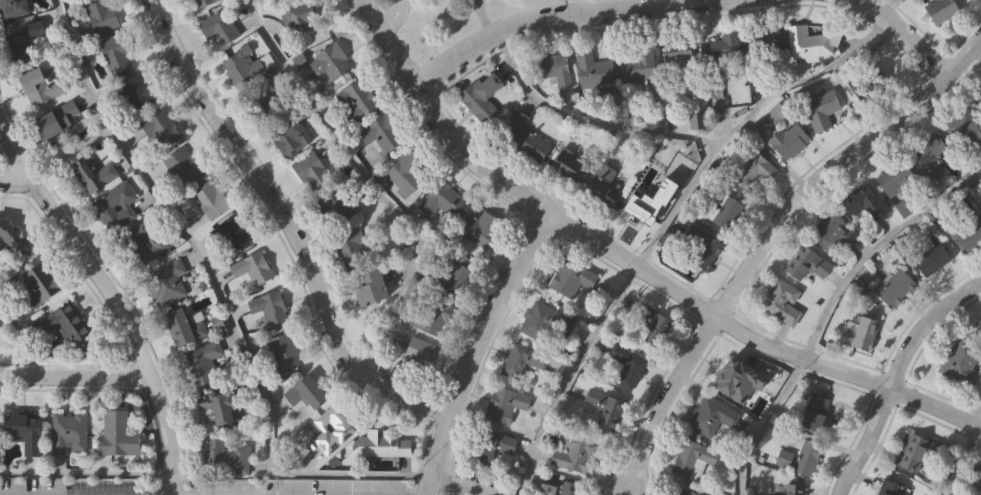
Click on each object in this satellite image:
road: (889, 1)
building: (204, 2)
building: (14, 8)
building: (941, 11)
building: (104, 14)
building: (302, 15)
road: (390, 17)
road: (544, 17)
building: (37, 28)
building: (221, 28)
road: (903, 35)
building: (766, 43)
building: (810, 43)
building: (18, 47)
building: (724, 47)
building: (118, 50)
building: (680, 52)
building: (335, 62)
building: (640, 62)
building: (556, 69)
building: (595, 69)
building: (867, 84)
building: (44, 85)
building: (138, 92)
building: (484, 95)
building: (977, 97)
building: (266, 98)
building: (359, 99)
building: (822, 104)
building: (778, 113)
building: (60, 119)
road: (585, 124)
building: (964, 128)
building: (163, 130)
building: (383, 134)
building: (286, 135)
building: (525, 137)
building: (791, 139)
building: (928, 155)
road: (834, 160)
building: (188, 166)
building: (571, 167)
building: (754, 168)
building: (313, 171)
building: (410, 171)
building: (95, 175)
building: (895, 177)
road: (14, 181)
road: (373, 186)
building: (604, 187)
building: (212, 198)
building: (443, 198)
building: (117, 207)
building: (864, 207)
building: (730, 212)
building: (640, 215)
road: (670, 217)
road: (288, 224)
building: (482, 228)
building: (234, 231)
building: (830, 232)
building: (347, 233)
building: (966, 235)
building: (14, 237)
building: (145, 241)
building: (705, 249)
building: (930, 260)
road: (632, 264)
building: (806, 264)
building: (255, 267)
building: (454, 276)
building: (572, 279)
building: (167, 281)
building: (42, 284)
building: (889, 286)
building: (373, 288)
road: (221, 297)
road: (111, 300)
building: (781, 301)
building: (271, 306)
road: (828, 308)
building: (433, 315)
building: (67, 322)
building: (544, 322)
building: (653, 325)
building: (979, 325)
building: (186, 326)
building: (979, 328)
building: (858, 331)
road: (23, 338)
road: (471, 346)
building: (285, 351)
building: (418, 356)
building: (523, 358)
building: (961, 360)
building: (203, 363)
building: (629, 366)
road: (891, 374)
road: (73, 376)
building: (734, 377)
building: (308, 391)
road: (661, 400)
building: (507, 403)
building: (224, 408)
building: (607, 410)
building: (814, 411)
building: (711, 415)
building: (334, 428)
building: (27, 431)
building: (69, 431)
building: (119, 433)
building: (383, 443)
building: (491, 446)
building: (911, 451)
building: (576, 453)
road: (964, 456)
building: (226, 457)
building: (800, 457)
building: (693, 458)
building: (975, 475)
road: (85, 476)
road: (449, 483)
building: (891, 488)
building: (790, 489)
building: (569, 491)
building: (688, 492)
building: (980, 494)

